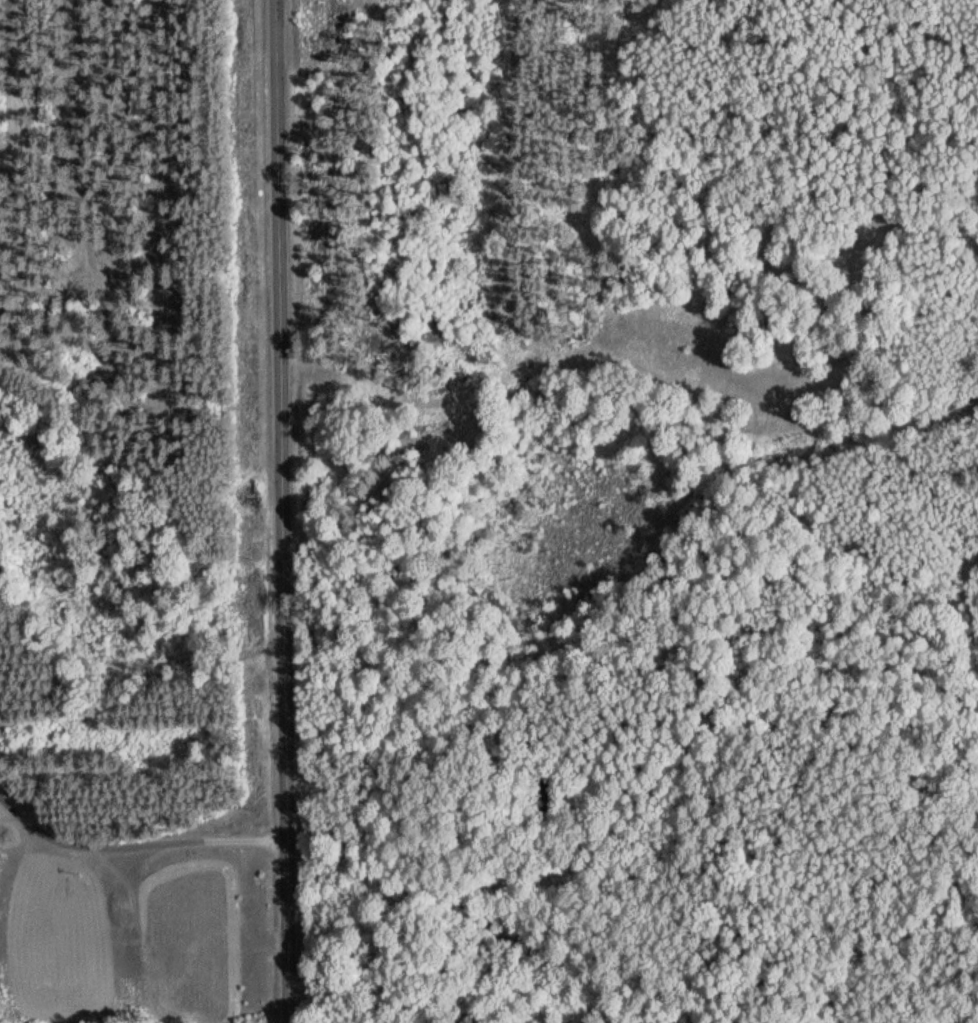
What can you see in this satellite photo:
road: (287, 511)

